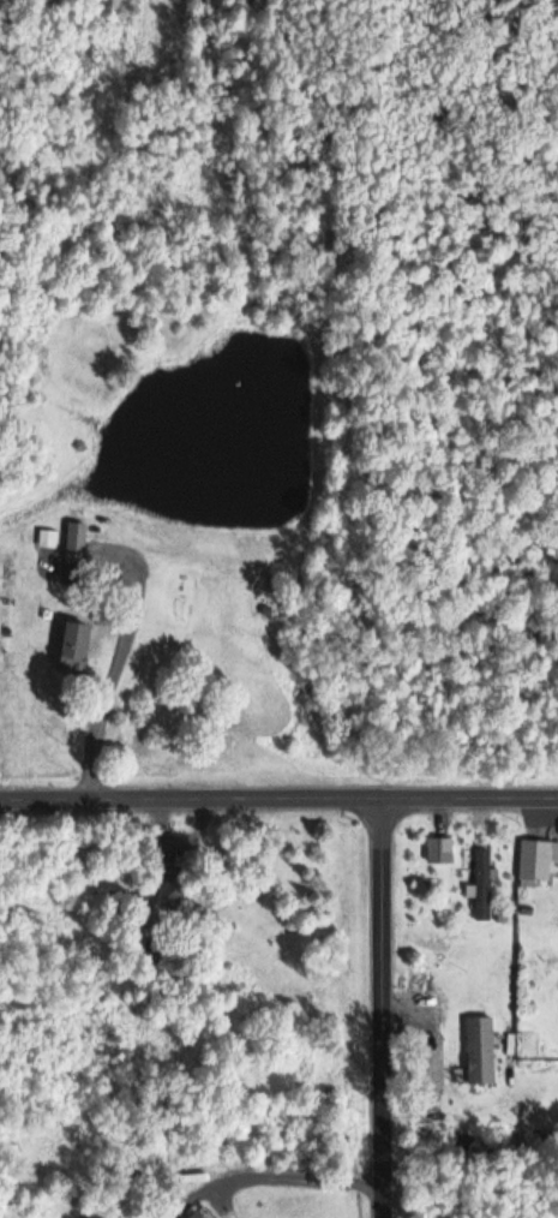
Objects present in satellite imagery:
building: (76, 543)
building: (76, 646)
road: (112, 670)
road: (278, 796)
building: (440, 849)
building: (538, 859)
road: (160, 867)
building: (175, 873)
building: (482, 885)
road: (384, 1007)
building: (481, 1050)
road: (472, 1201)
building: (202, 1214)

